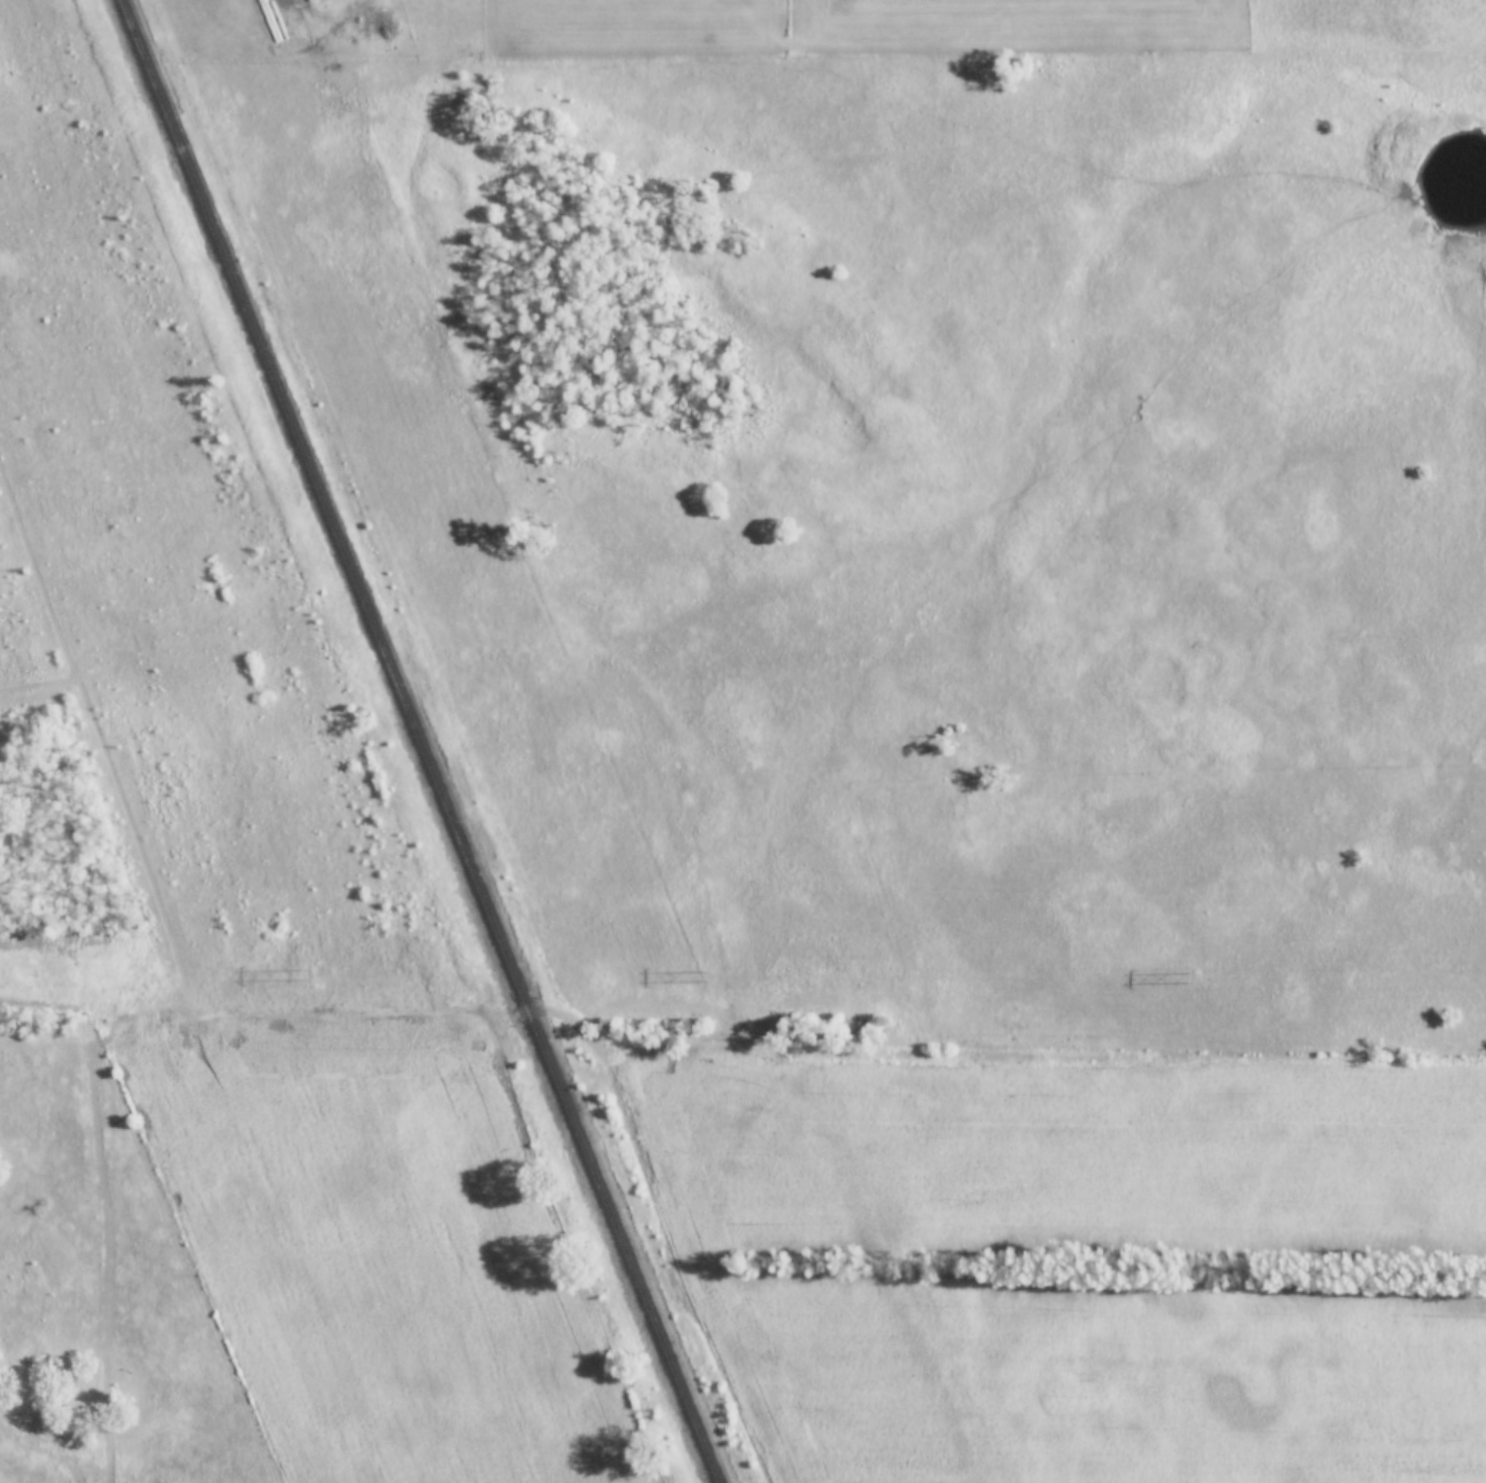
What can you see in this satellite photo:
railway: (418, 741)
power tower: (312, 972)
power tower: (1198, 978)
power tower: (712, 979)

